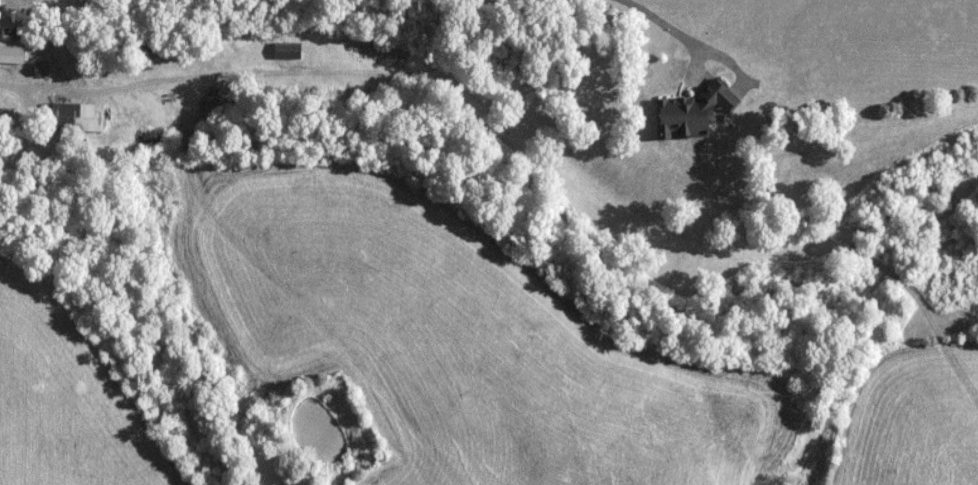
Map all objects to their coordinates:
road: (659, 20)
building: (12, 50)
building: (288, 50)
road: (112, 89)
building: (694, 112)
building: (78, 117)

